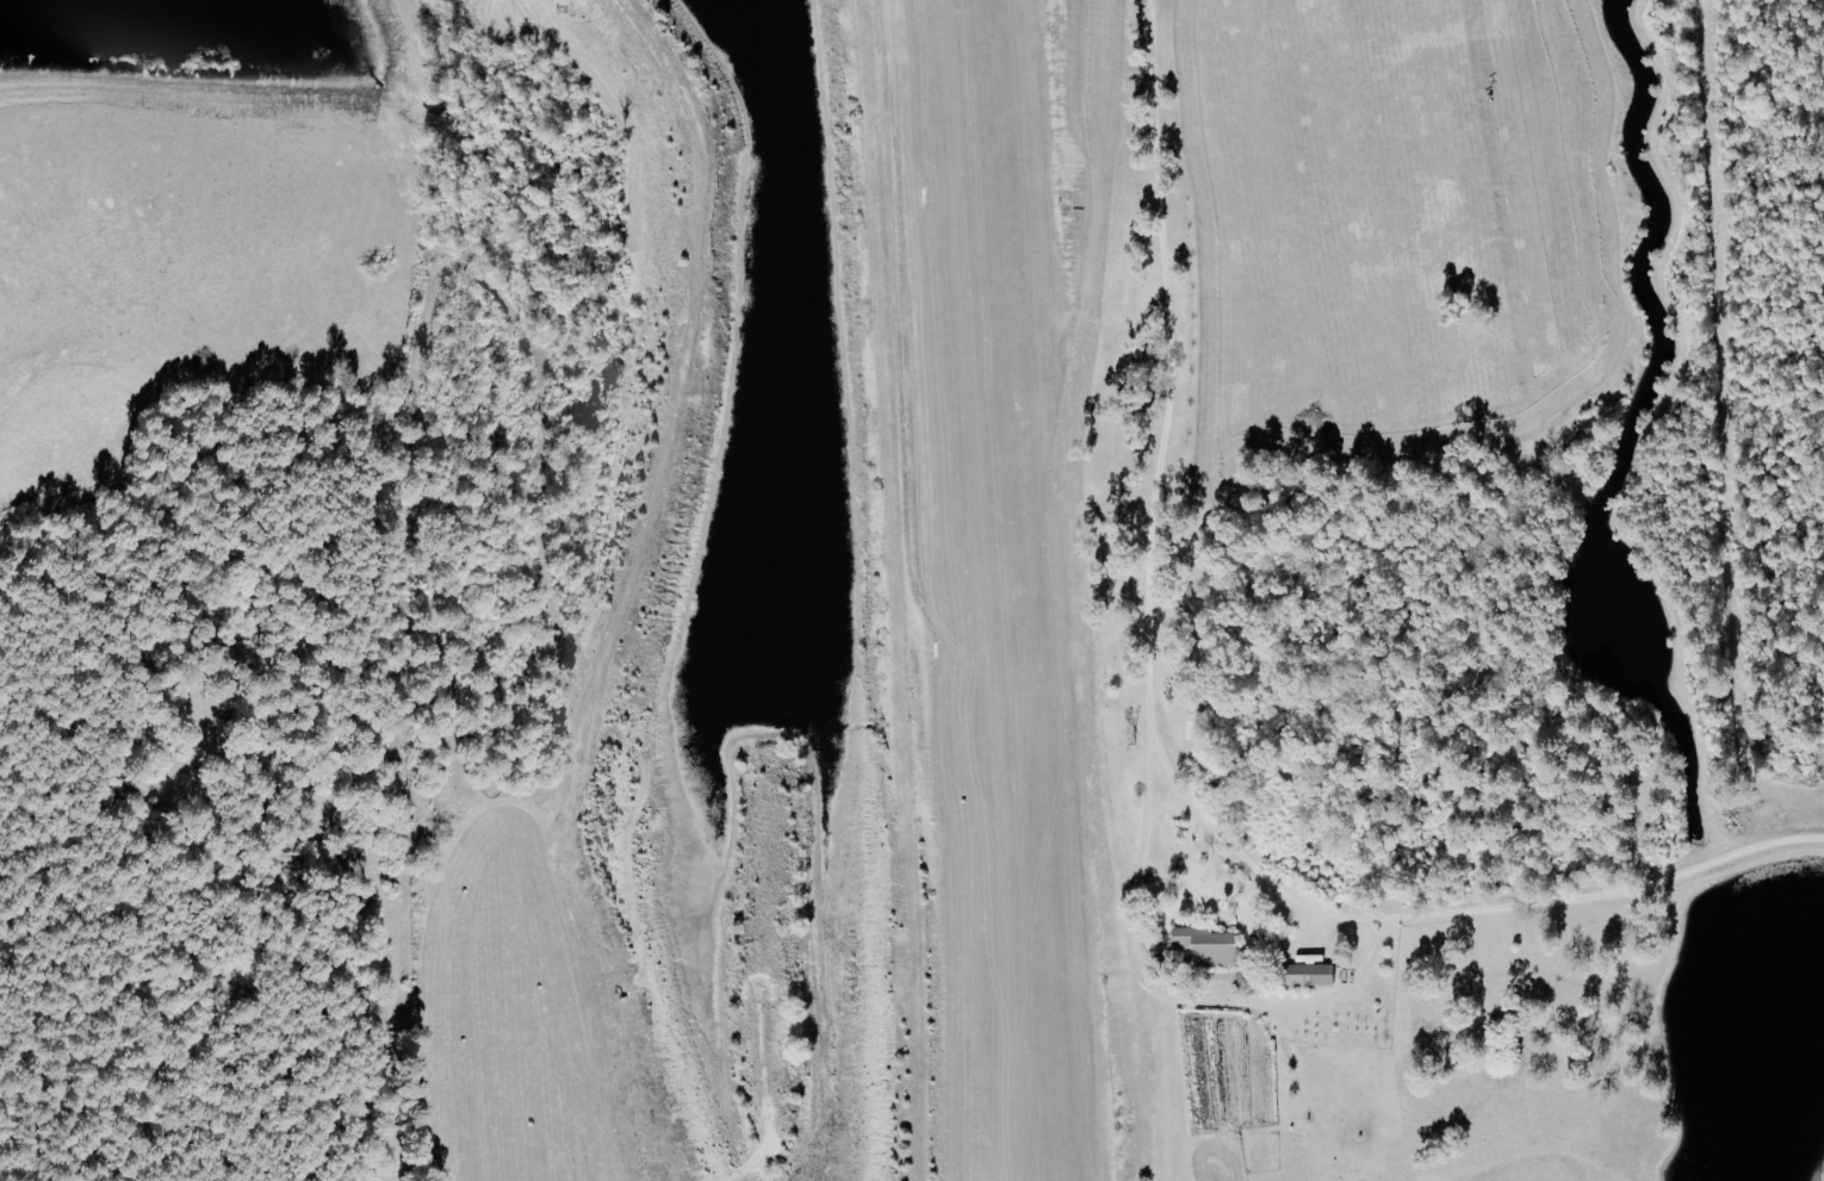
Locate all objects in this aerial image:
road: (1158, 480)
road: (1458, 912)
building: (1208, 944)
building: (1307, 974)

